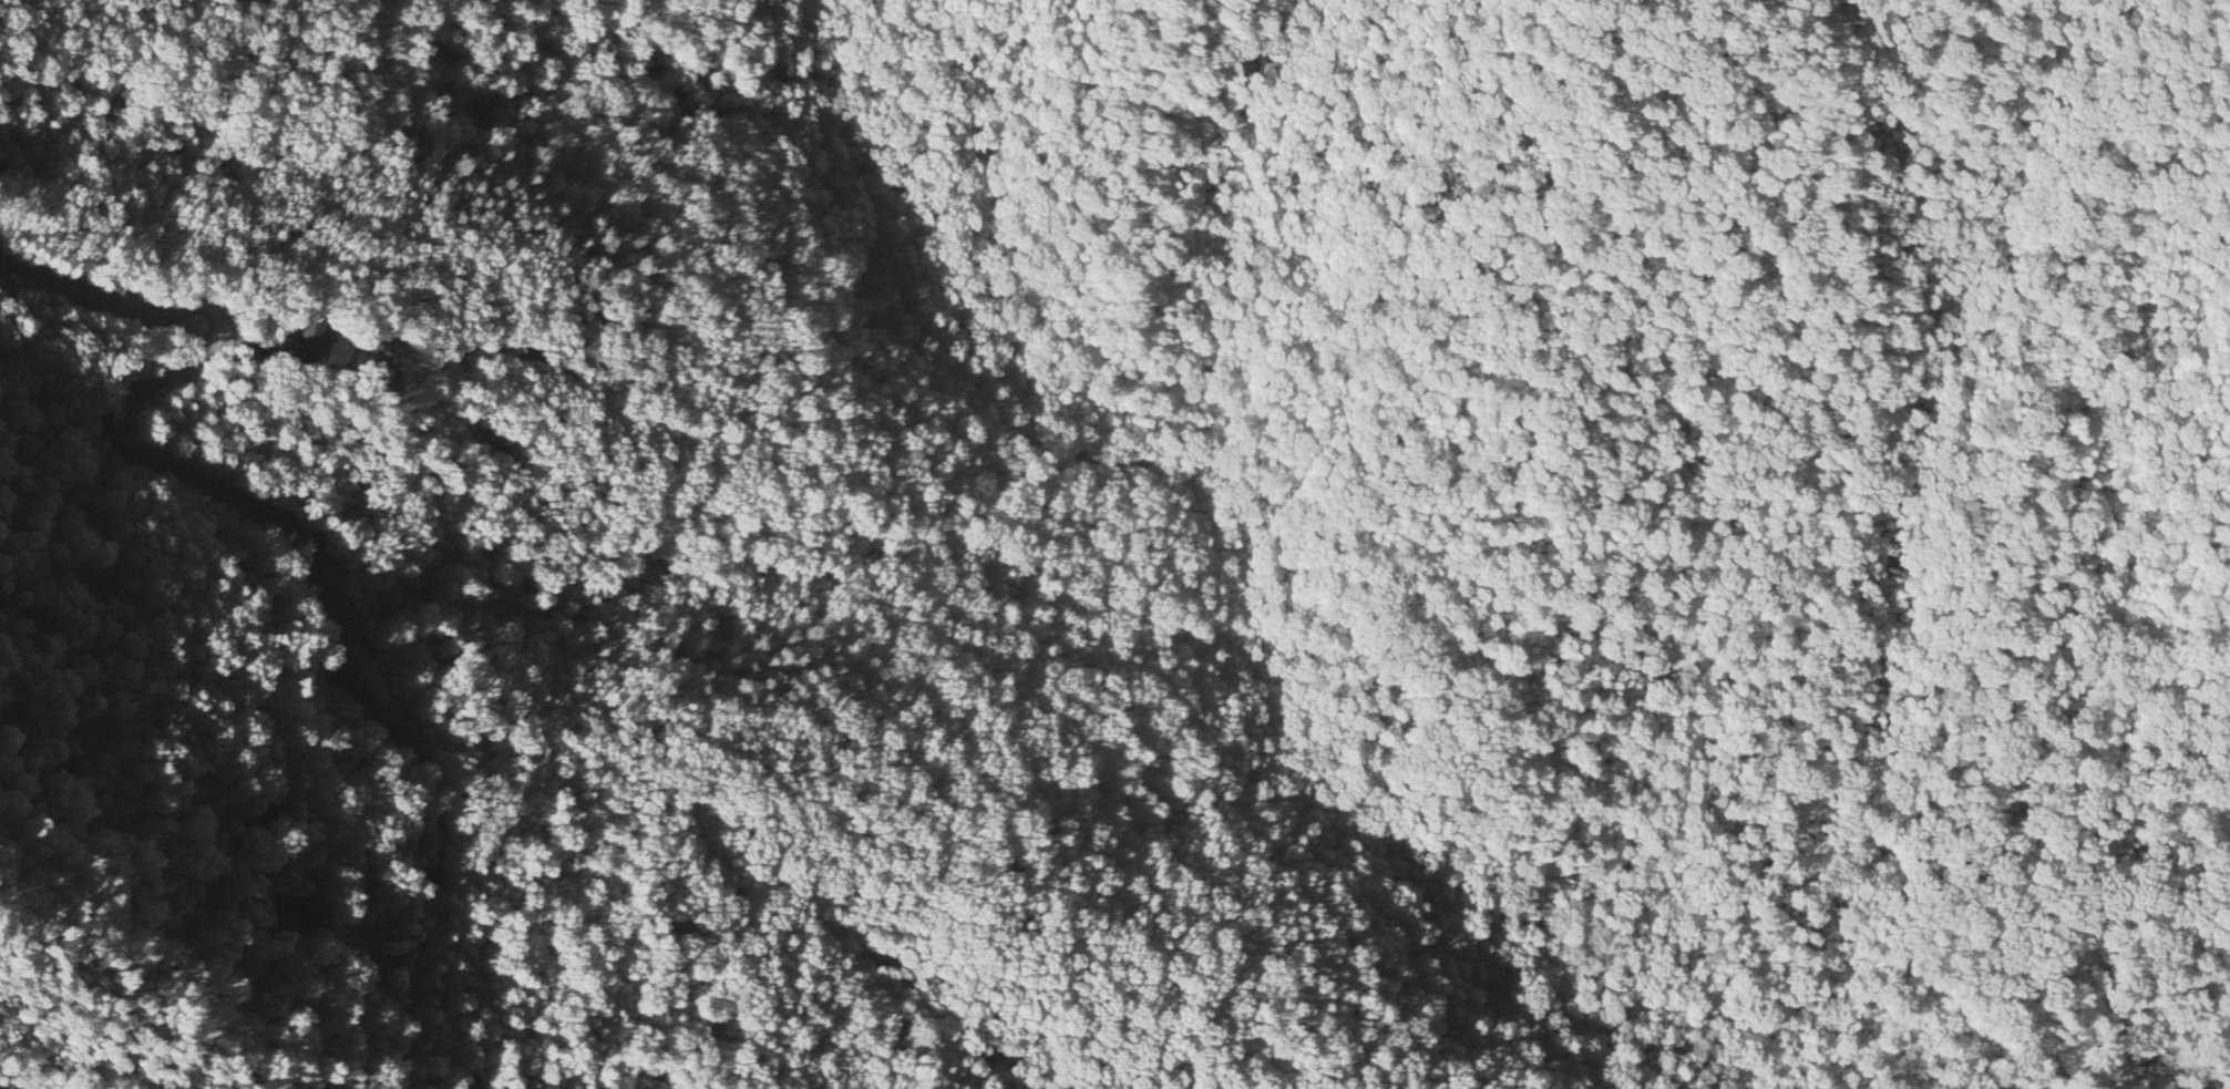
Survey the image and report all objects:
road: (274, 534)
road: (308, 1042)

